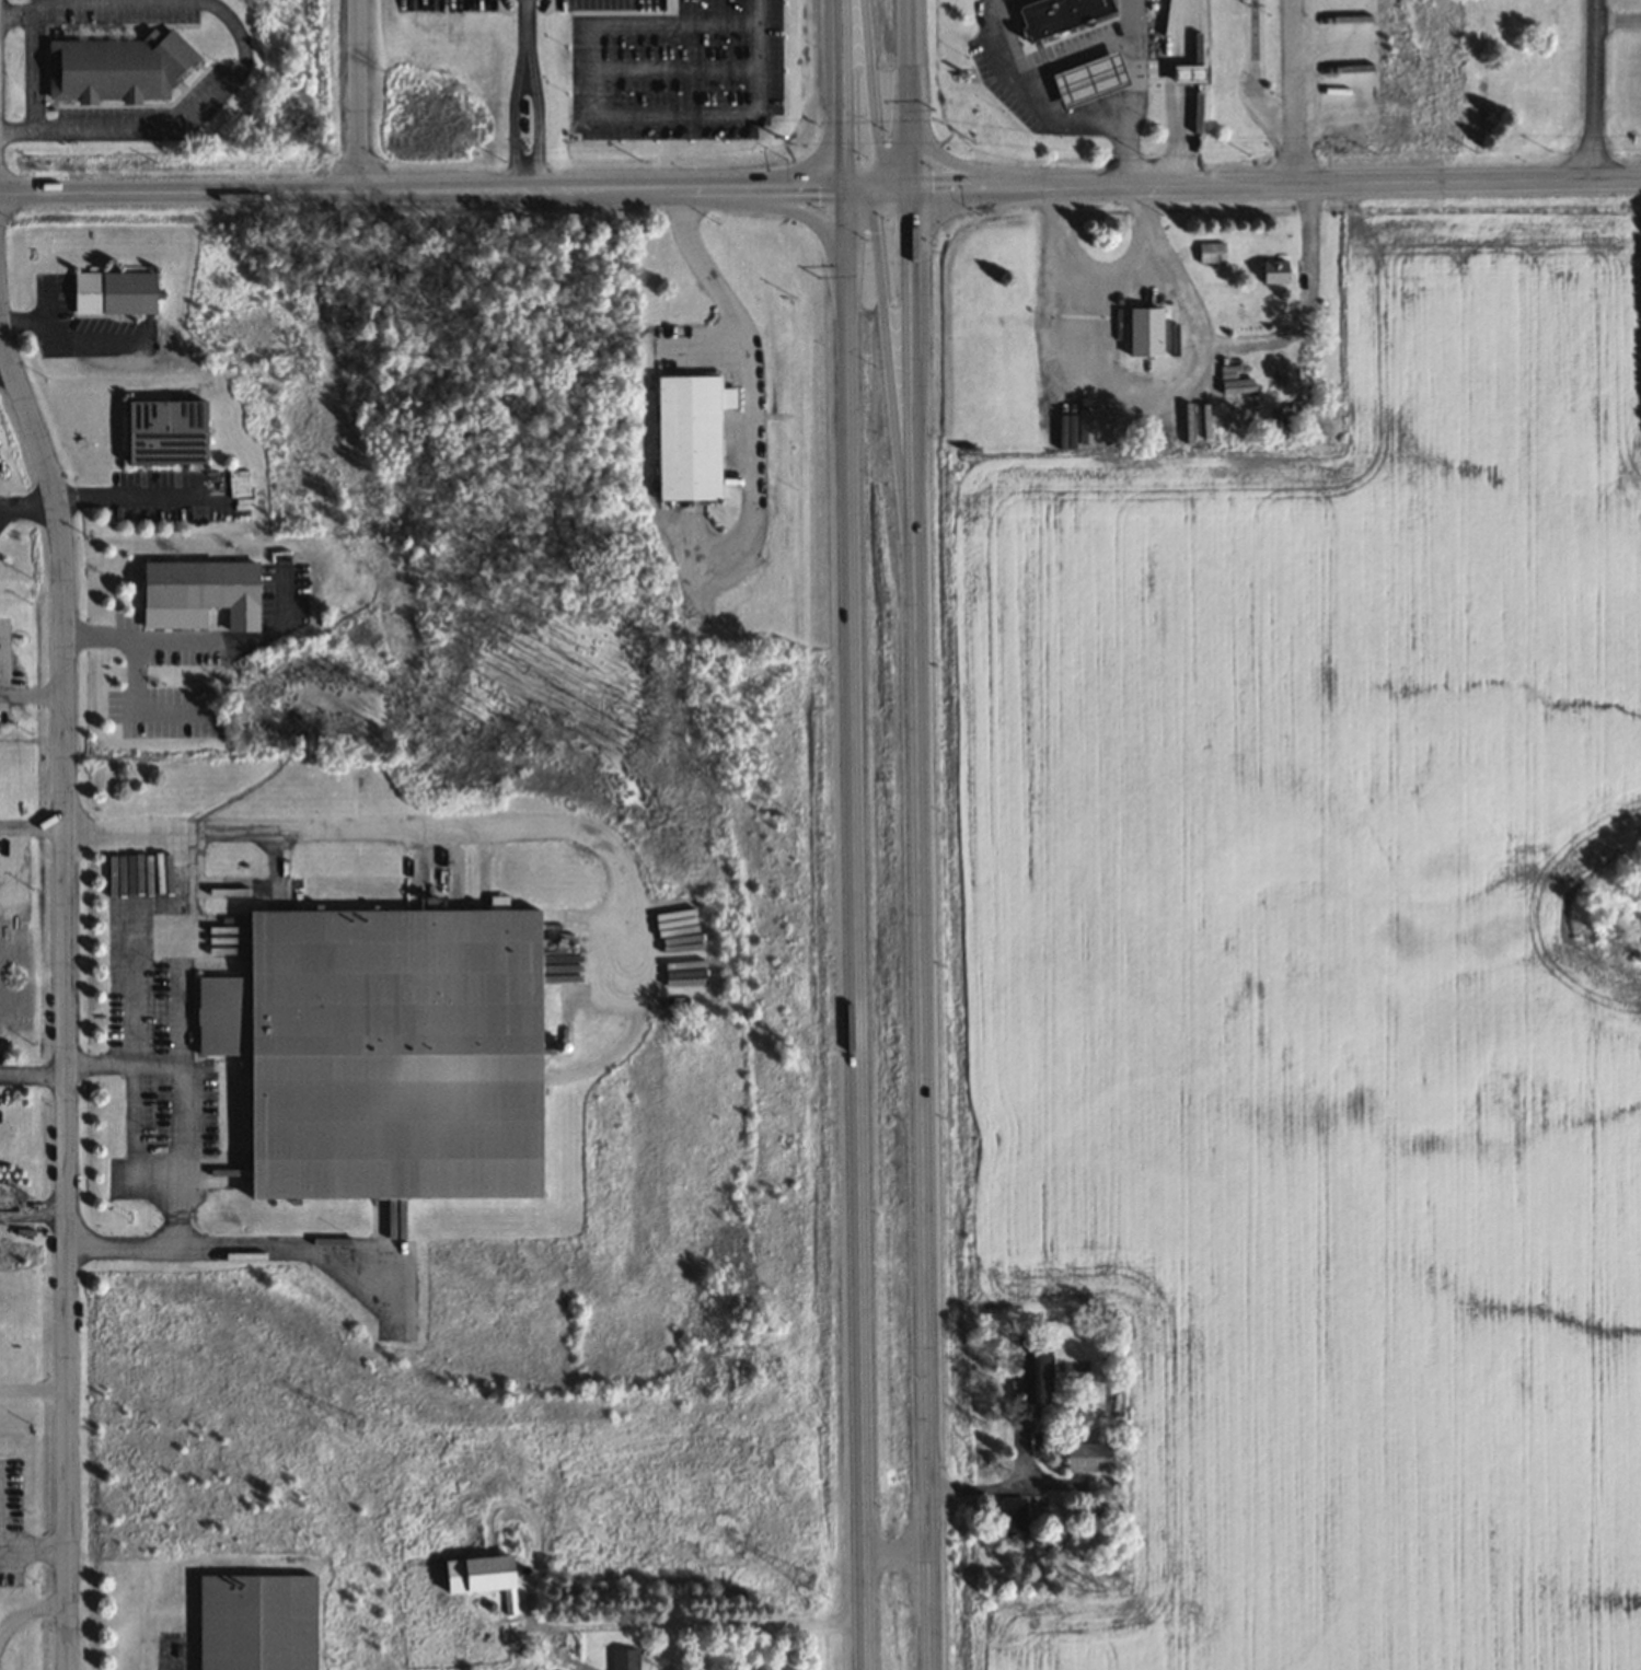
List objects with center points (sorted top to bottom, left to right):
building: (1059, 14)
road: (523, 38)
road: (243, 53)
road: (908, 63)
road: (1134, 66)
building: (115, 68)
building: (1189, 74)
building: (1088, 80)
road: (1294, 91)
road: (1167, 92)
road: (356, 94)
road: (844, 94)
road: (870, 100)
road: (1050, 112)
road: (512, 120)
road: (538, 120)
road: (909, 158)
road: (954, 162)
road: (525, 176)
road: (1274, 183)
road: (876, 188)
traffic signals: (909, 188)
road: (421, 189)
traffic signals: (844, 189)
road: (798, 212)
building: (1211, 253)
road: (1163, 269)
building: (1273, 271)
building: (113, 293)
building: (1144, 333)
road: (885, 344)
road: (3, 359)
road: (746, 359)
road: (1167, 384)
building: (165, 432)
building: (689, 436)
road: (27, 503)
building: (205, 590)
road: (33, 692)
road: (33, 826)
road: (400, 826)
road: (920, 928)
road: (854, 929)
road: (67, 989)
road: (183, 1037)
building: (385, 1051)
road: (125, 1064)
road: (33, 1075)
road: (229, 1246)
building: (1036, 1373)
power tower: (353, 1422)
building: (1087, 1457)
building: (1013, 1516)
building: (477, 1573)
power tower: (806, 1577)
building: (256, 1622)
building: (624, 1659)

